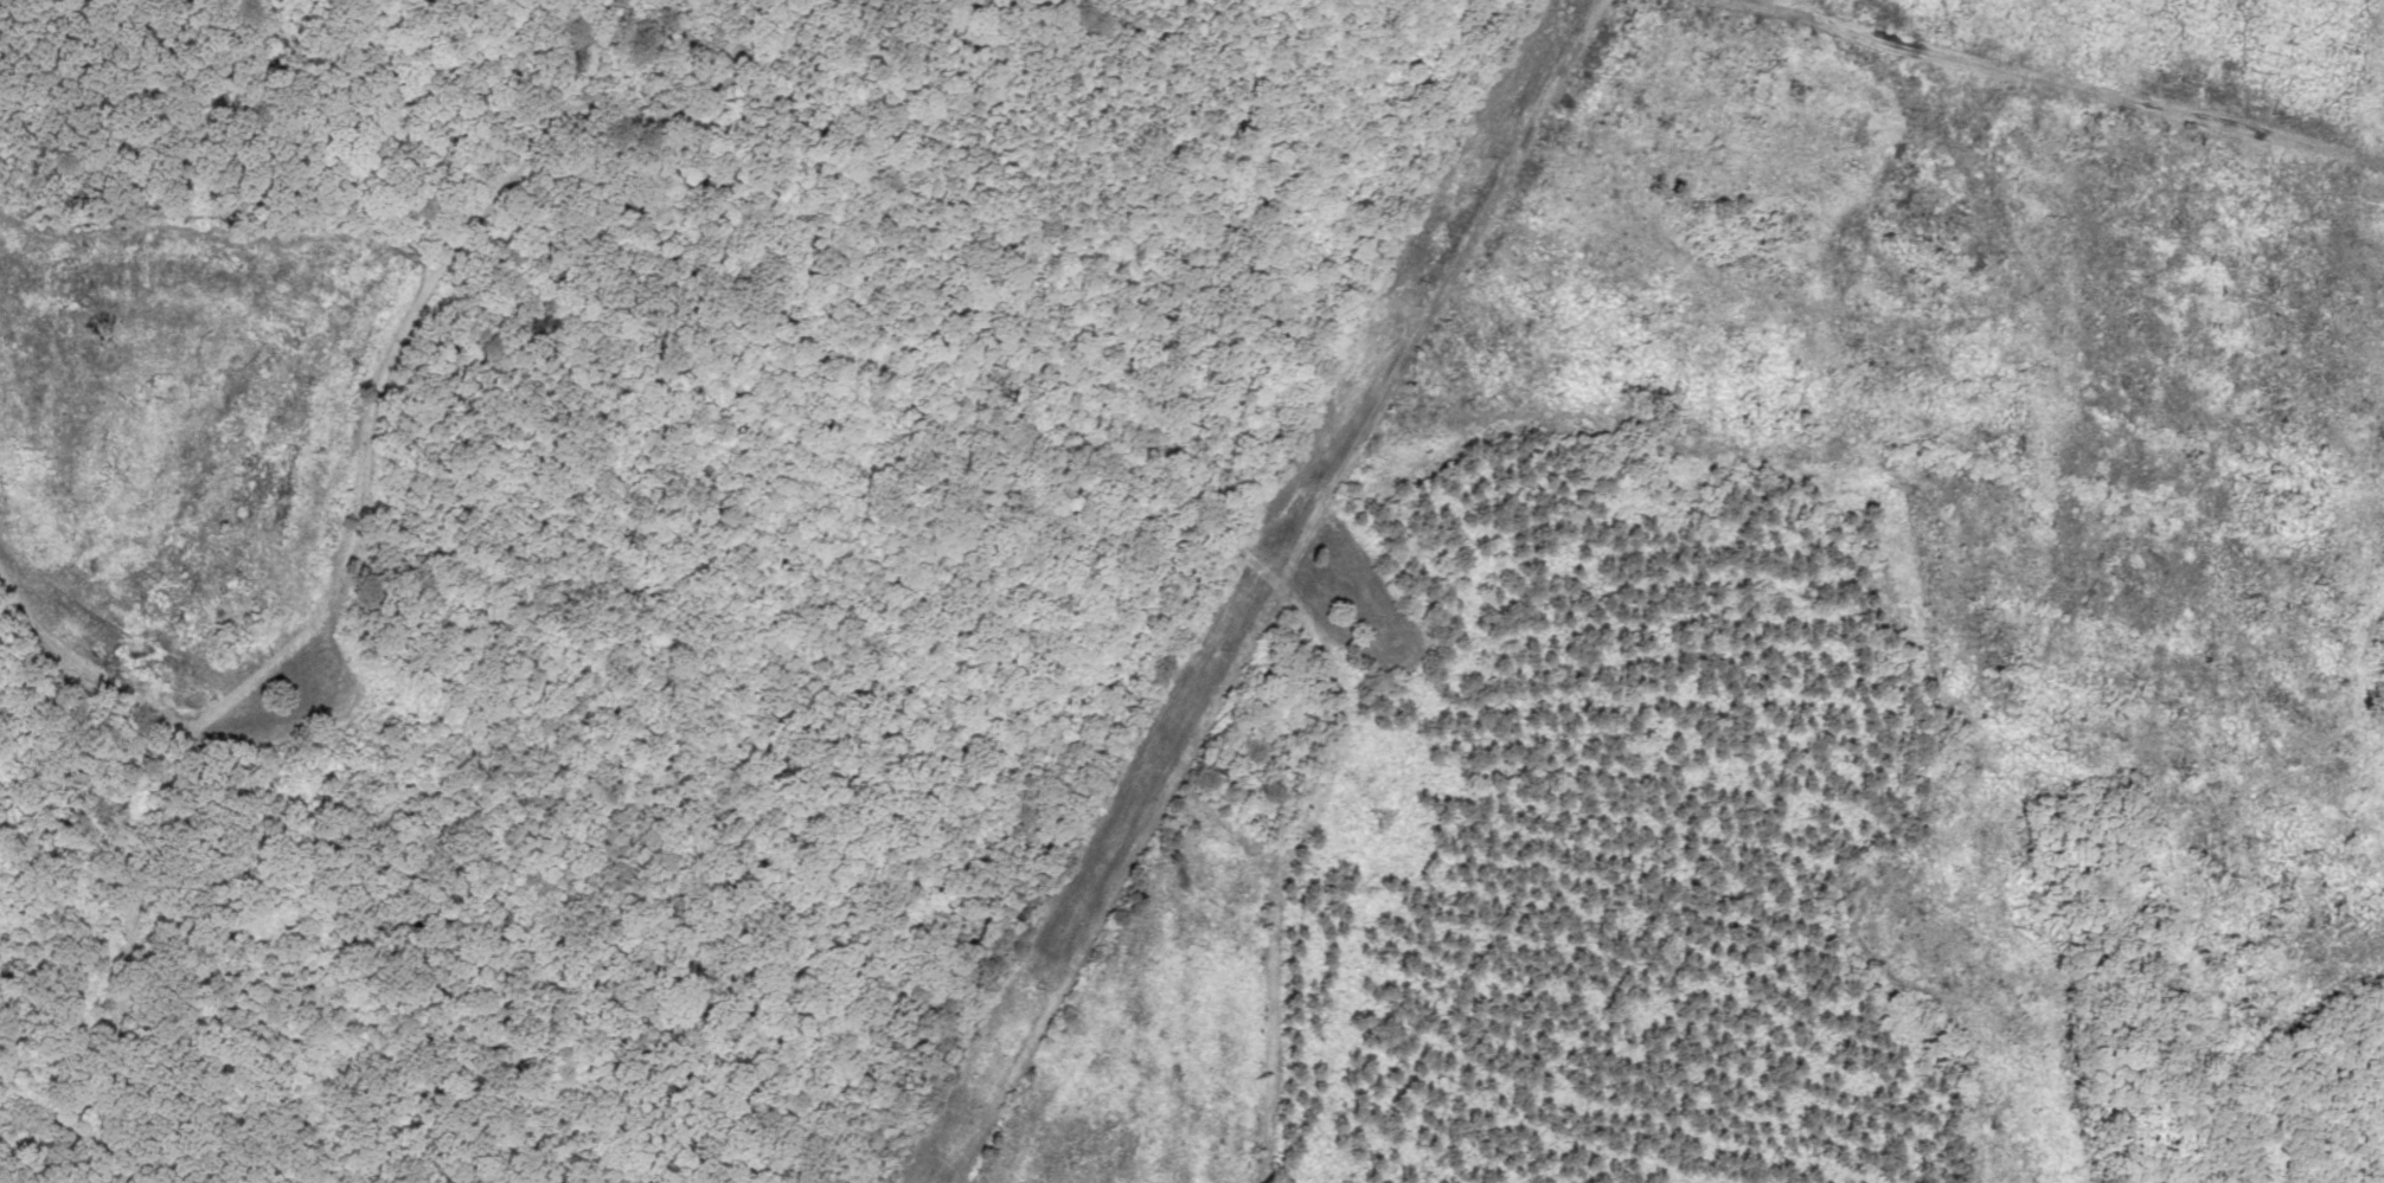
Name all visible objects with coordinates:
road: (44, 855)

